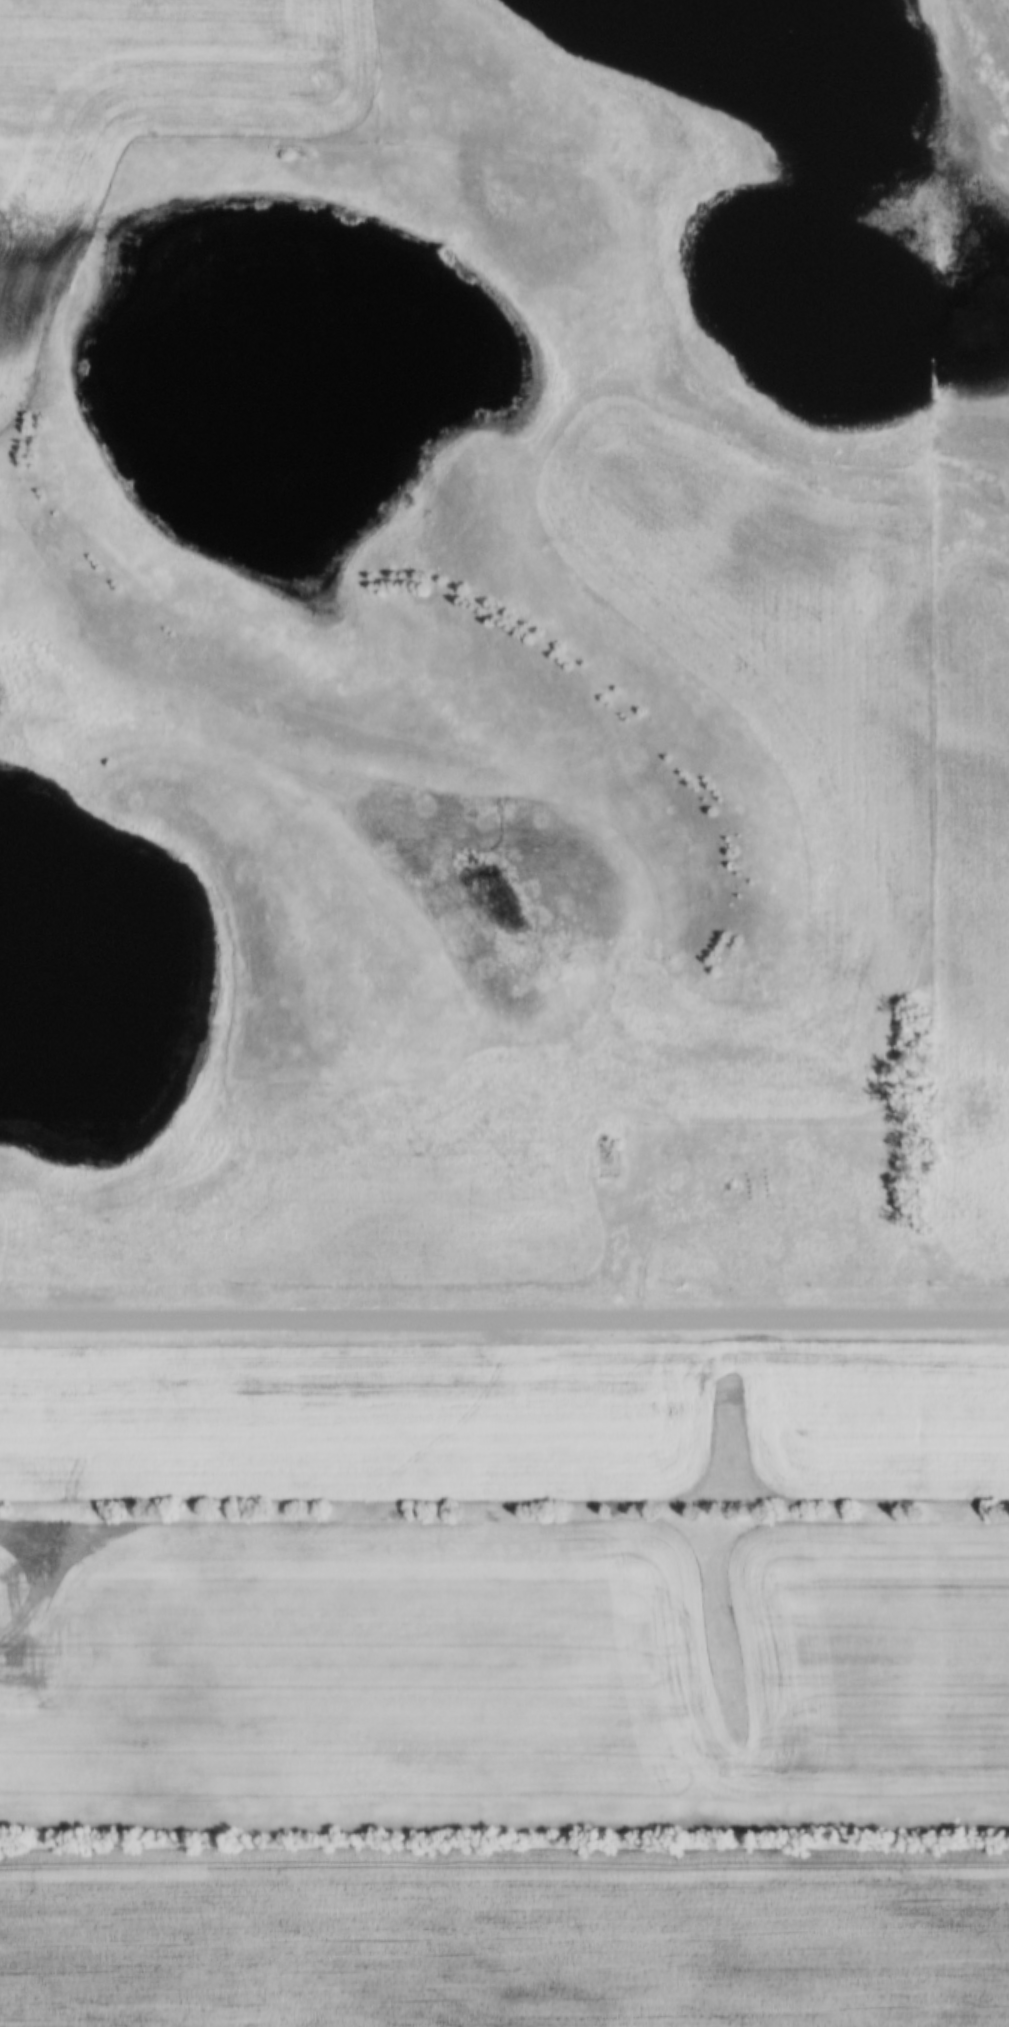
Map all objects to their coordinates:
road: (700, 1280)
road: (504, 1320)

